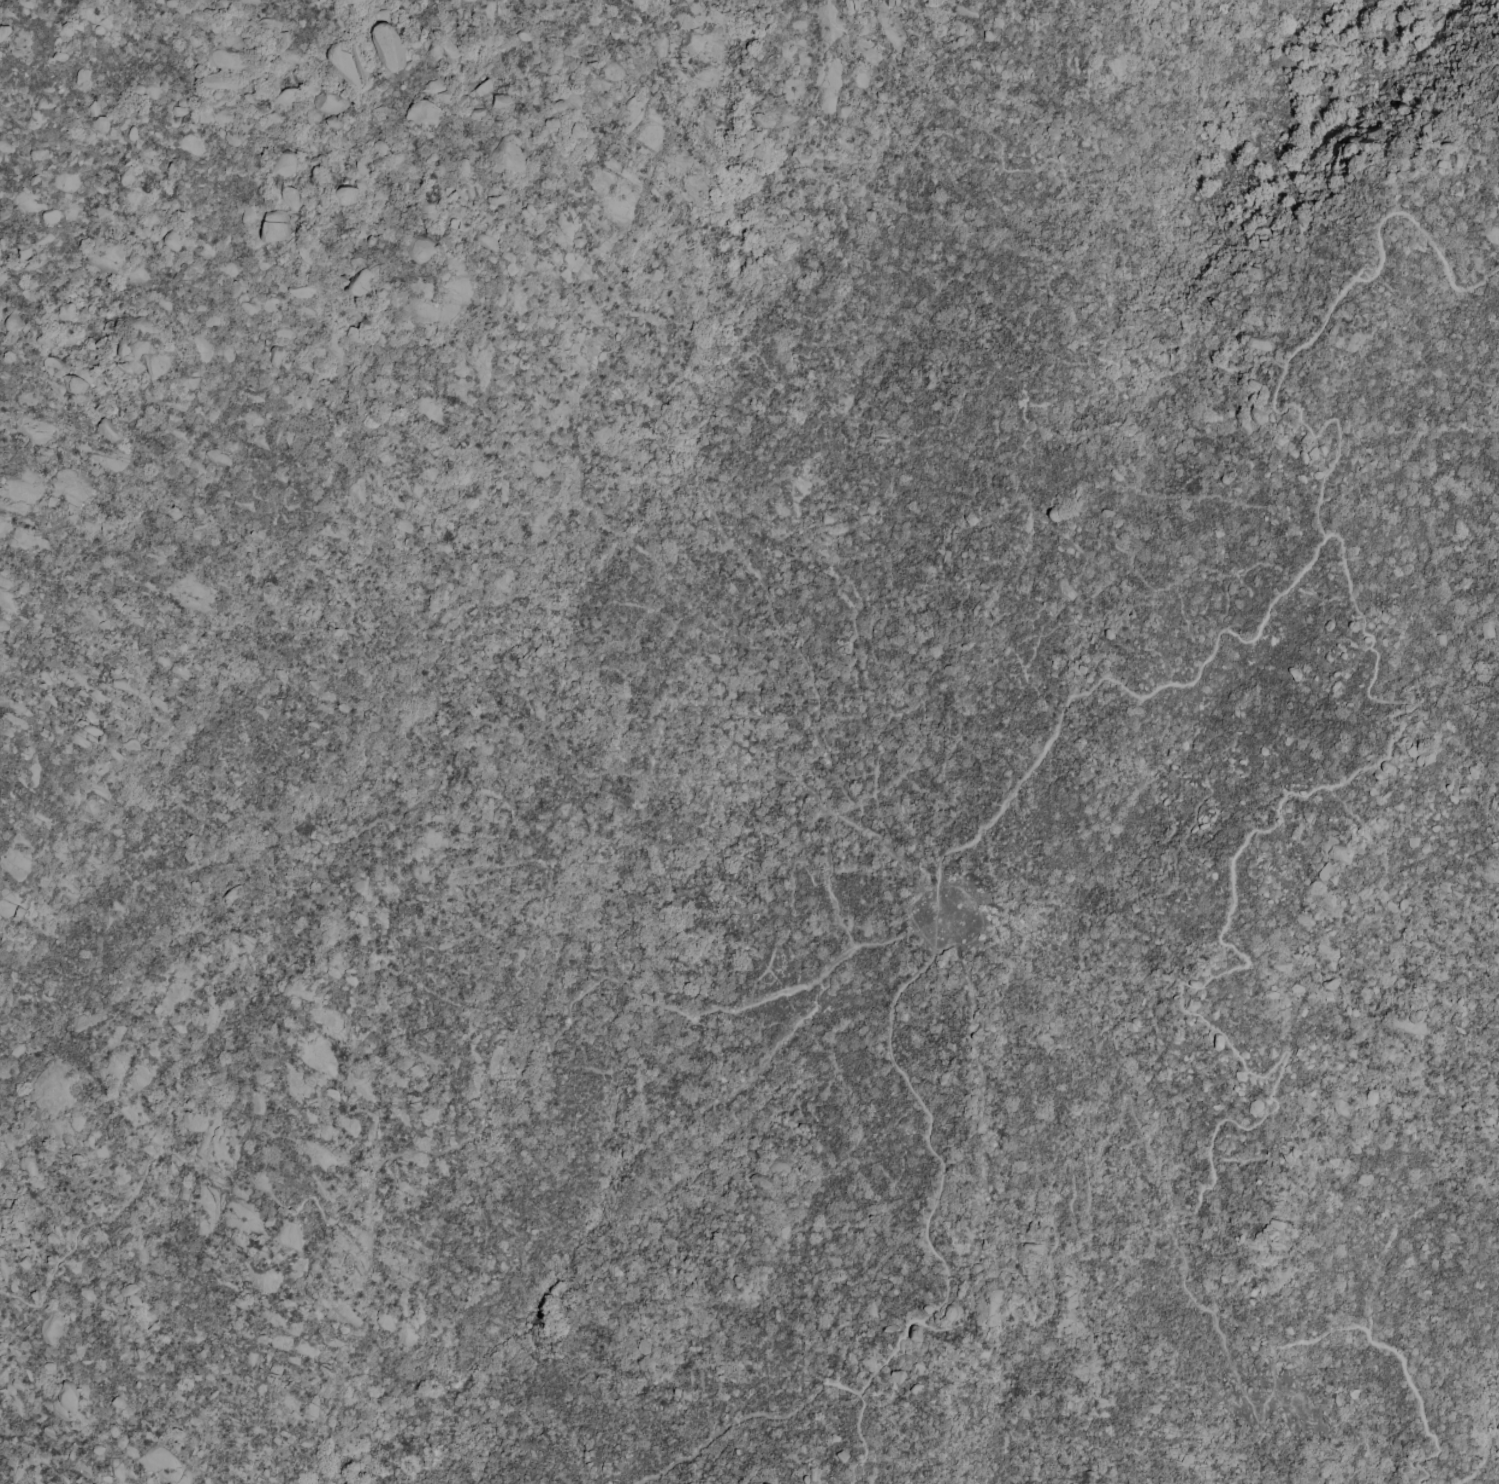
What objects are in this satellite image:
road: (851, 34)
building: (385, 48)
building: (1116, 68)
building: (483, 88)
building: (151, 90)
building: (499, 100)
building: (328, 103)
building: (843, 111)
building: (99, 125)
building: (283, 164)
road: (1075, 190)
building: (289, 196)
building: (51, 217)
building: (274, 227)
building: (66, 311)
road: (1021, 334)
road: (1314, 334)
road: (724, 348)
building: (65, 375)
building: (1258, 386)
road: (642, 555)
road: (1088, 564)
road: (1084, 595)
building: (3, 624)
building: (1486, 630)
road: (1016, 677)
building: (90, 716)
road: (967, 716)
road: (714, 764)
road: (442, 767)
road: (585, 773)
road: (1021, 782)
road: (925, 794)
road: (193, 813)
road: (672, 822)
road: (812, 849)
road: (910, 873)
building: (6, 904)
road: (909, 917)
building: (1341, 1107)
building: (1491, 1120)
building: (194, 1121)
road: (1, 1168)
road: (56, 1269)
building: (614, 1270)
building: (130, 1295)
building: (915, 1333)
building: (642, 1348)
building: (897, 1376)
building: (65, 1401)
road: (755, 1417)
building: (842, 1456)

